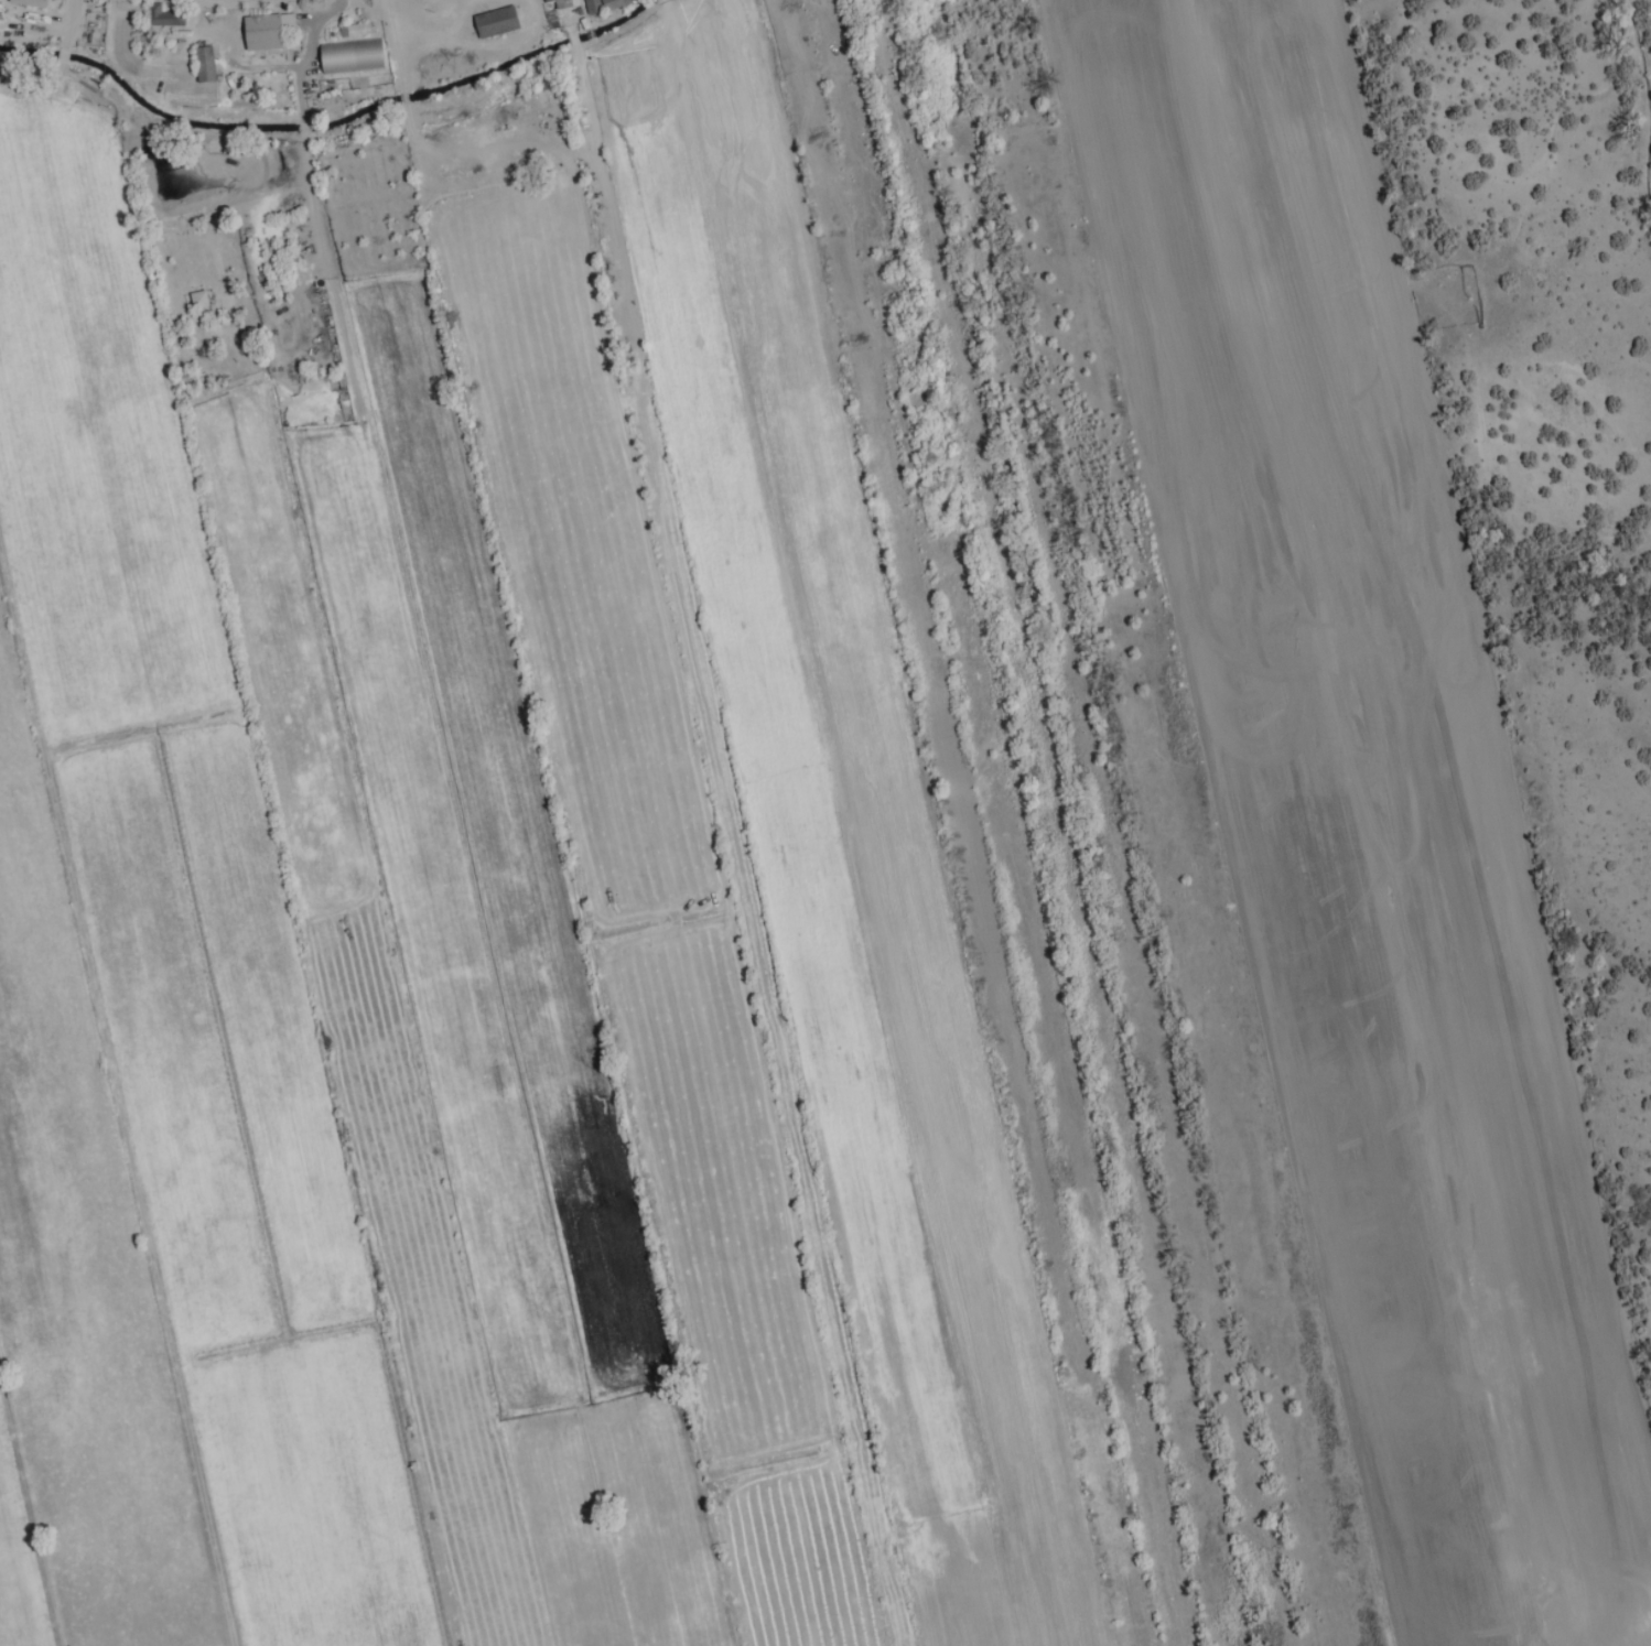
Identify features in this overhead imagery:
building: (33, 3)
building: (597, 6)
building: (155, 18)
building: (488, 23)
building: (259, 32)
building: (347, 32)
building: (344, 58)
building: (197, 65)
building: (192, 300)
building: (312, 336)

